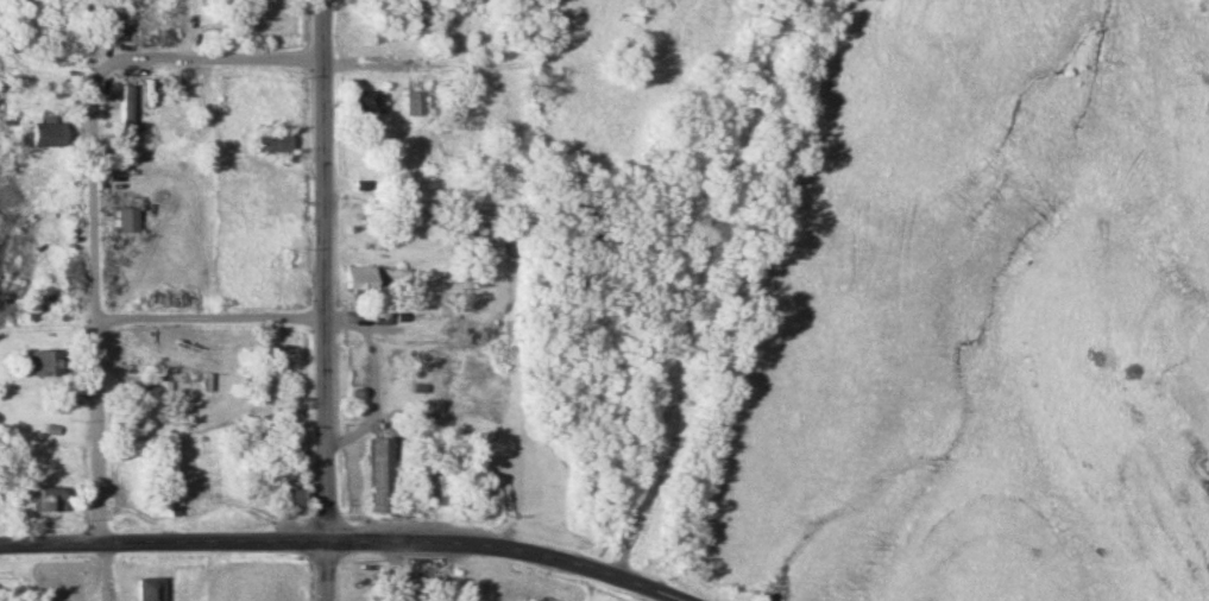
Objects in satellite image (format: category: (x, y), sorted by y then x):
building: (417, 17)
road: (213, 58)
road: (371, 63)
building: (413, 102)
building: (364, 107)
building: (45, 133)
building: (271, 140)
building: (125, 219)
building: (358, 277)
road: (95, 300)
road: (323, 300)
road: (209, 317)
building: (42, 361)
building: (162, 393)
building: (379, 475)
building: (44, 496)
road: (347, 540)
building: (149, 588)

